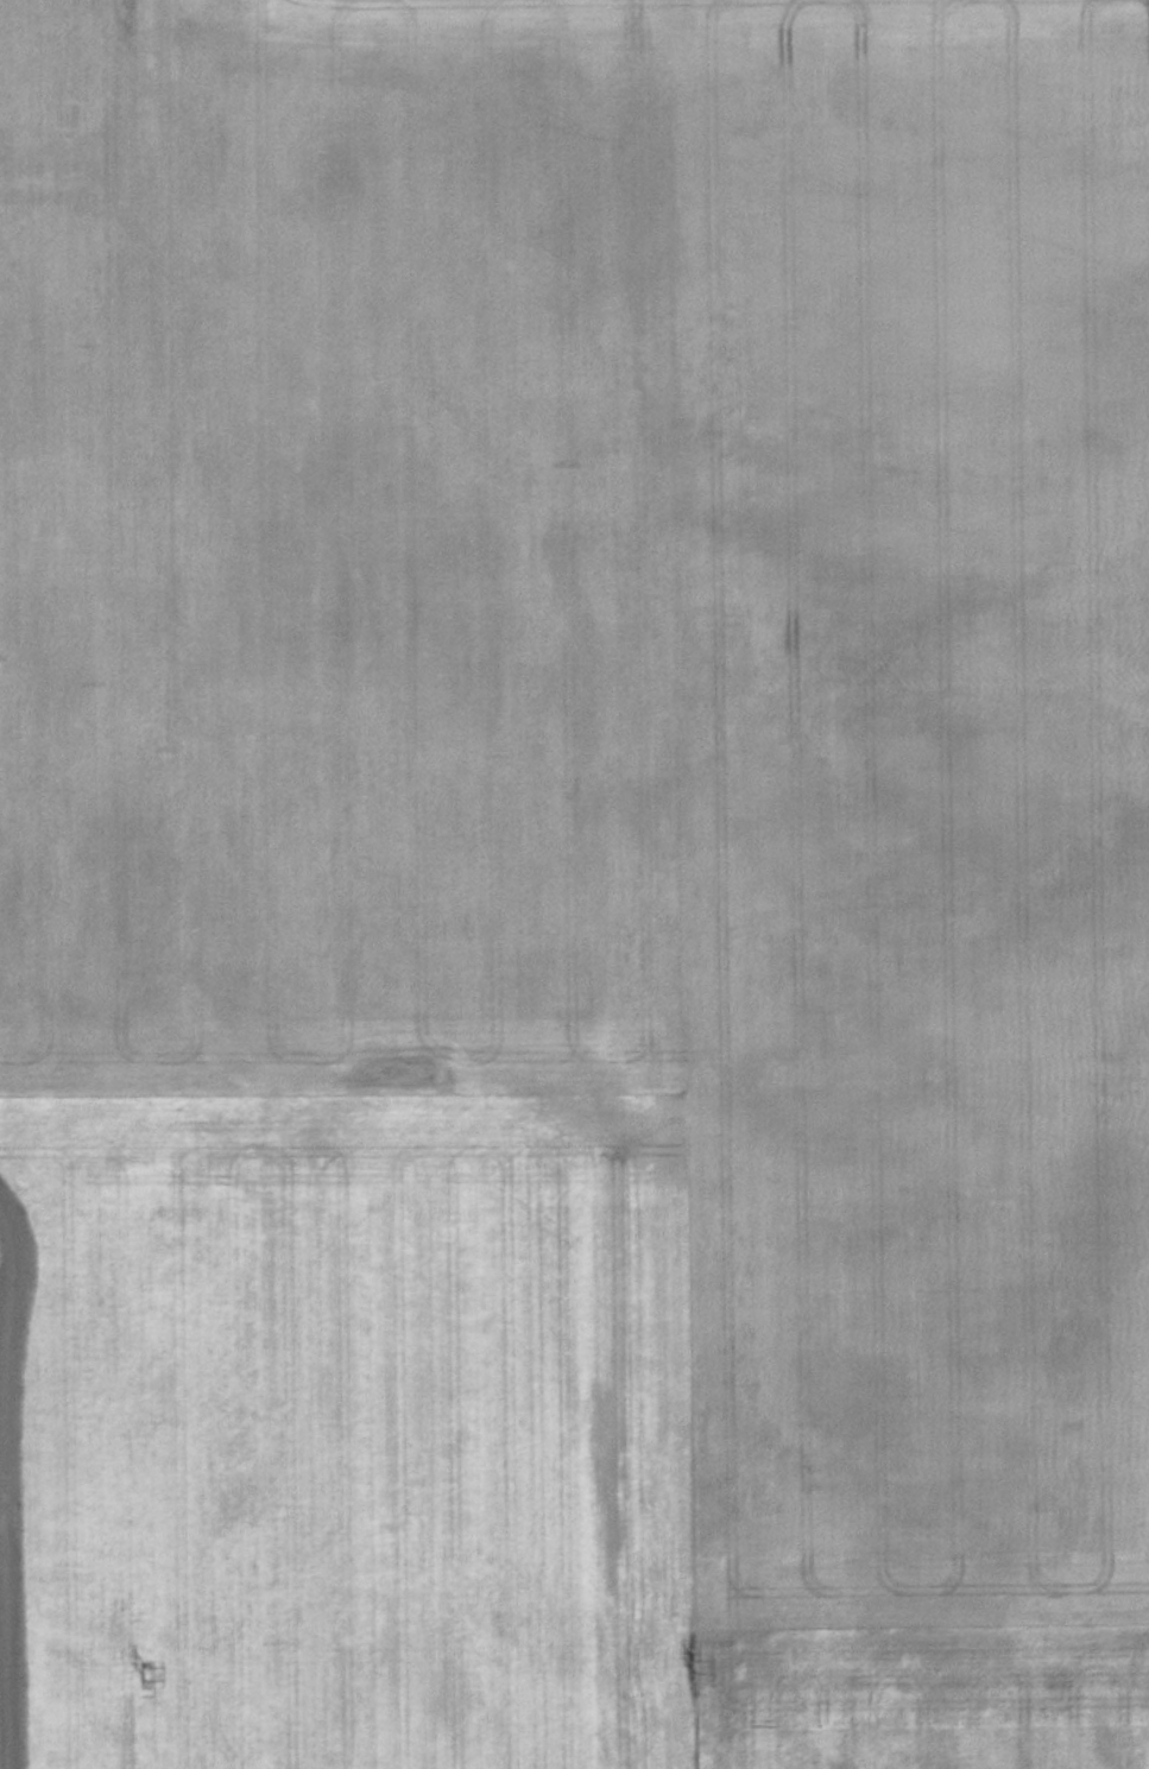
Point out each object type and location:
power tower: (702, 1664)
power tower: (152, 1672)

